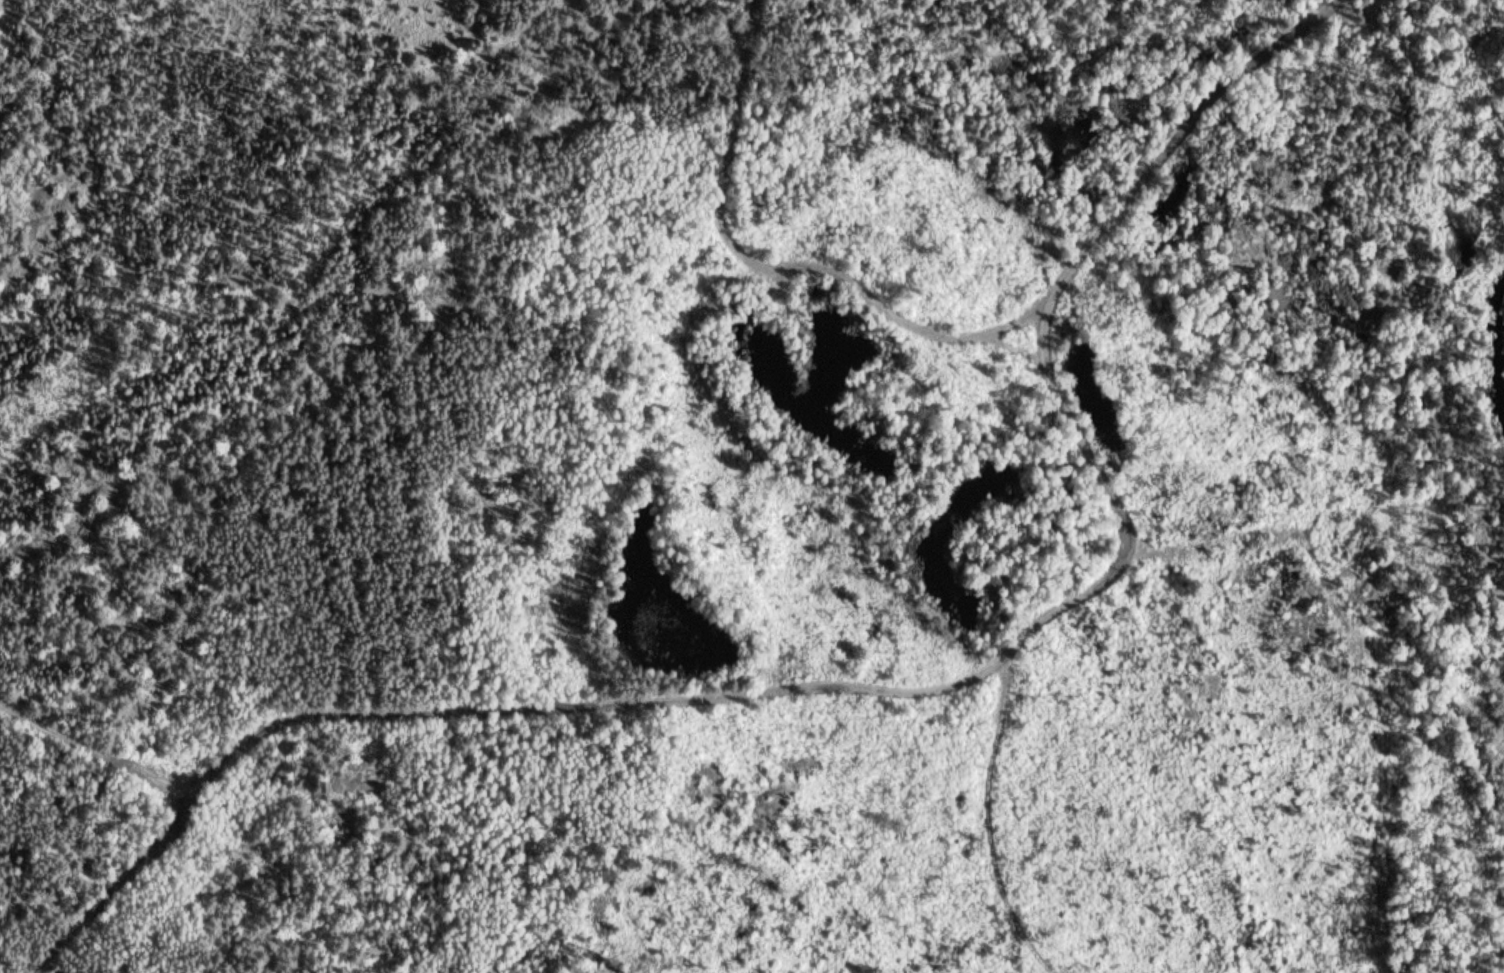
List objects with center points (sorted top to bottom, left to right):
road: (888, 690)
road: (90, 754)

